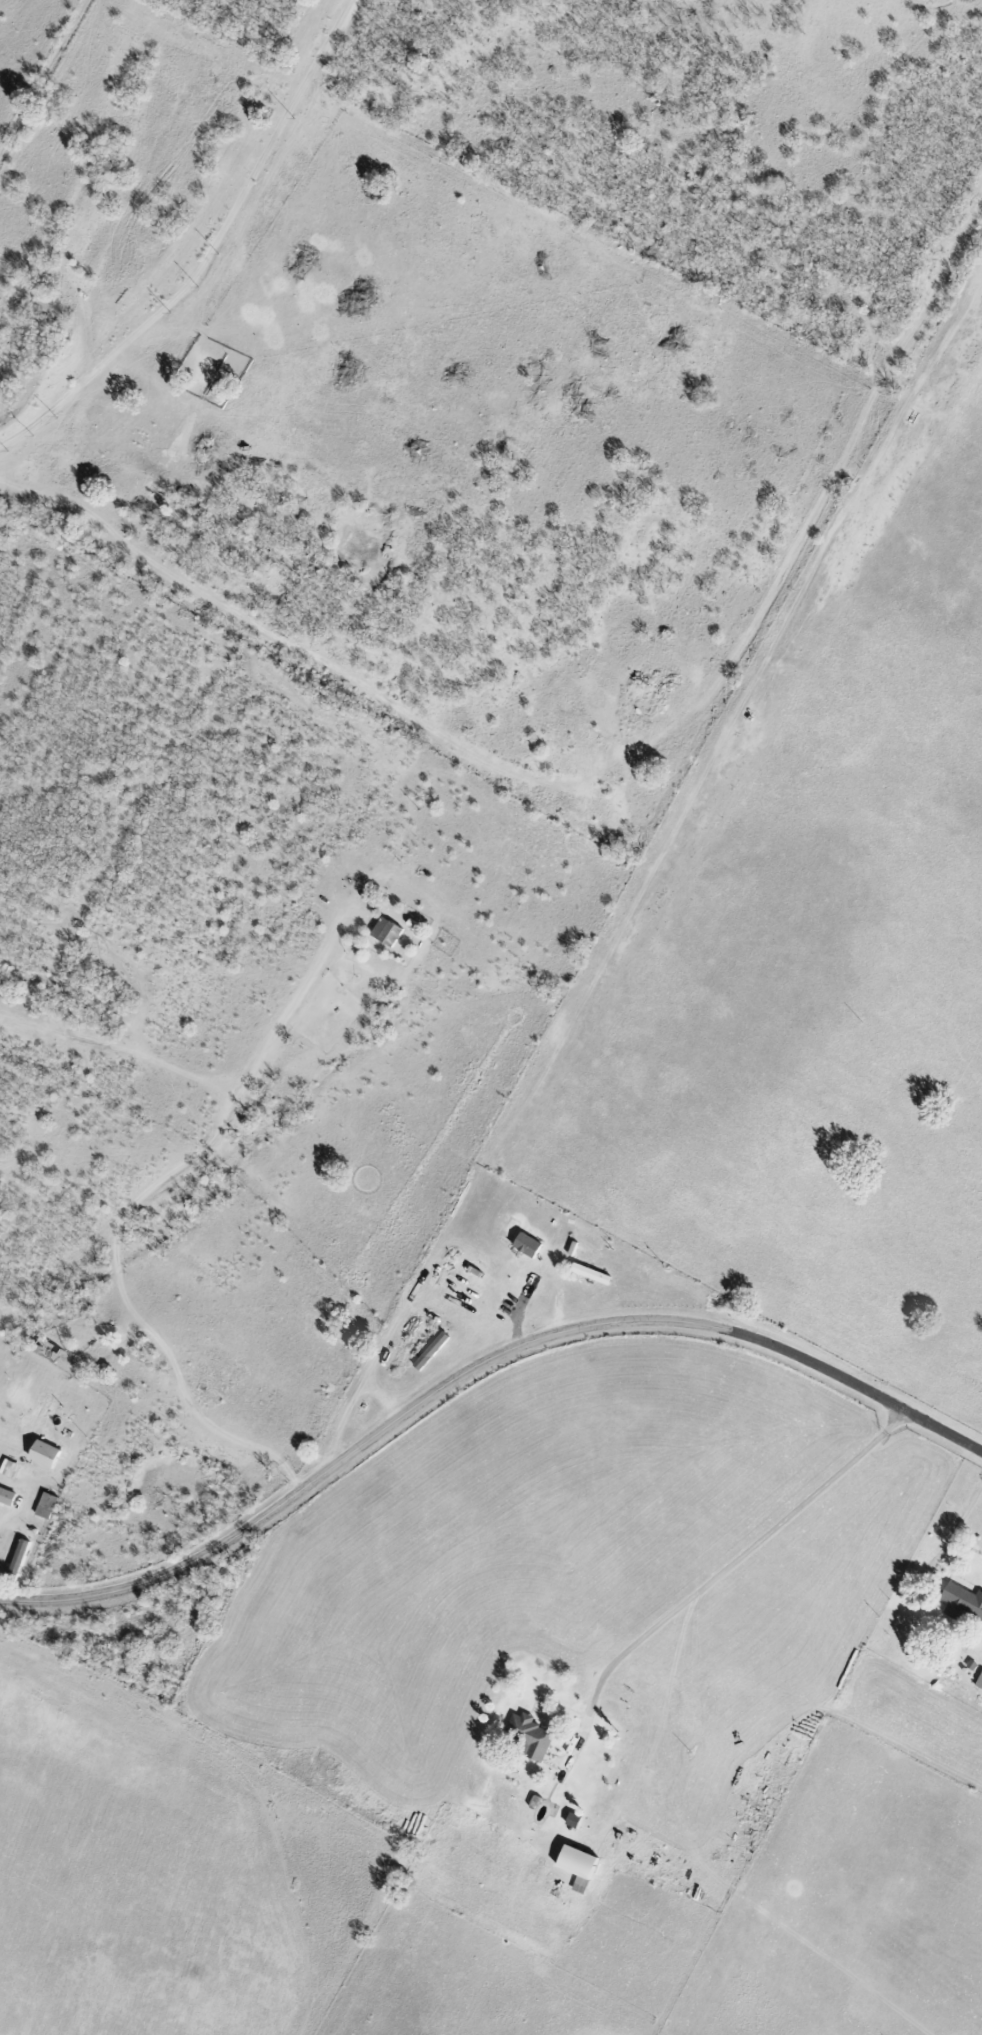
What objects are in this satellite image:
road: (209, 251)
road: (44, 497)
road: (646, 750)
building: (386, 932)
road: (570, 1010)
road: (123, 1213)
building: (527, 1244)
road: (415, 1294)
road: (572, 1327)
building: (34, 1418)
building: (43, 1454)
building: (9, 1468)
building: (6, 1496)
building: (46, 1505)
road: (5, 1520)
road: (955, 1528)
road: (725, 1563)
road: (103, 1591)
building: (962, 1603)
building: (979, 1682)
building: (529, 1736)
road: (666, 1746)
building: (577, 1866)

